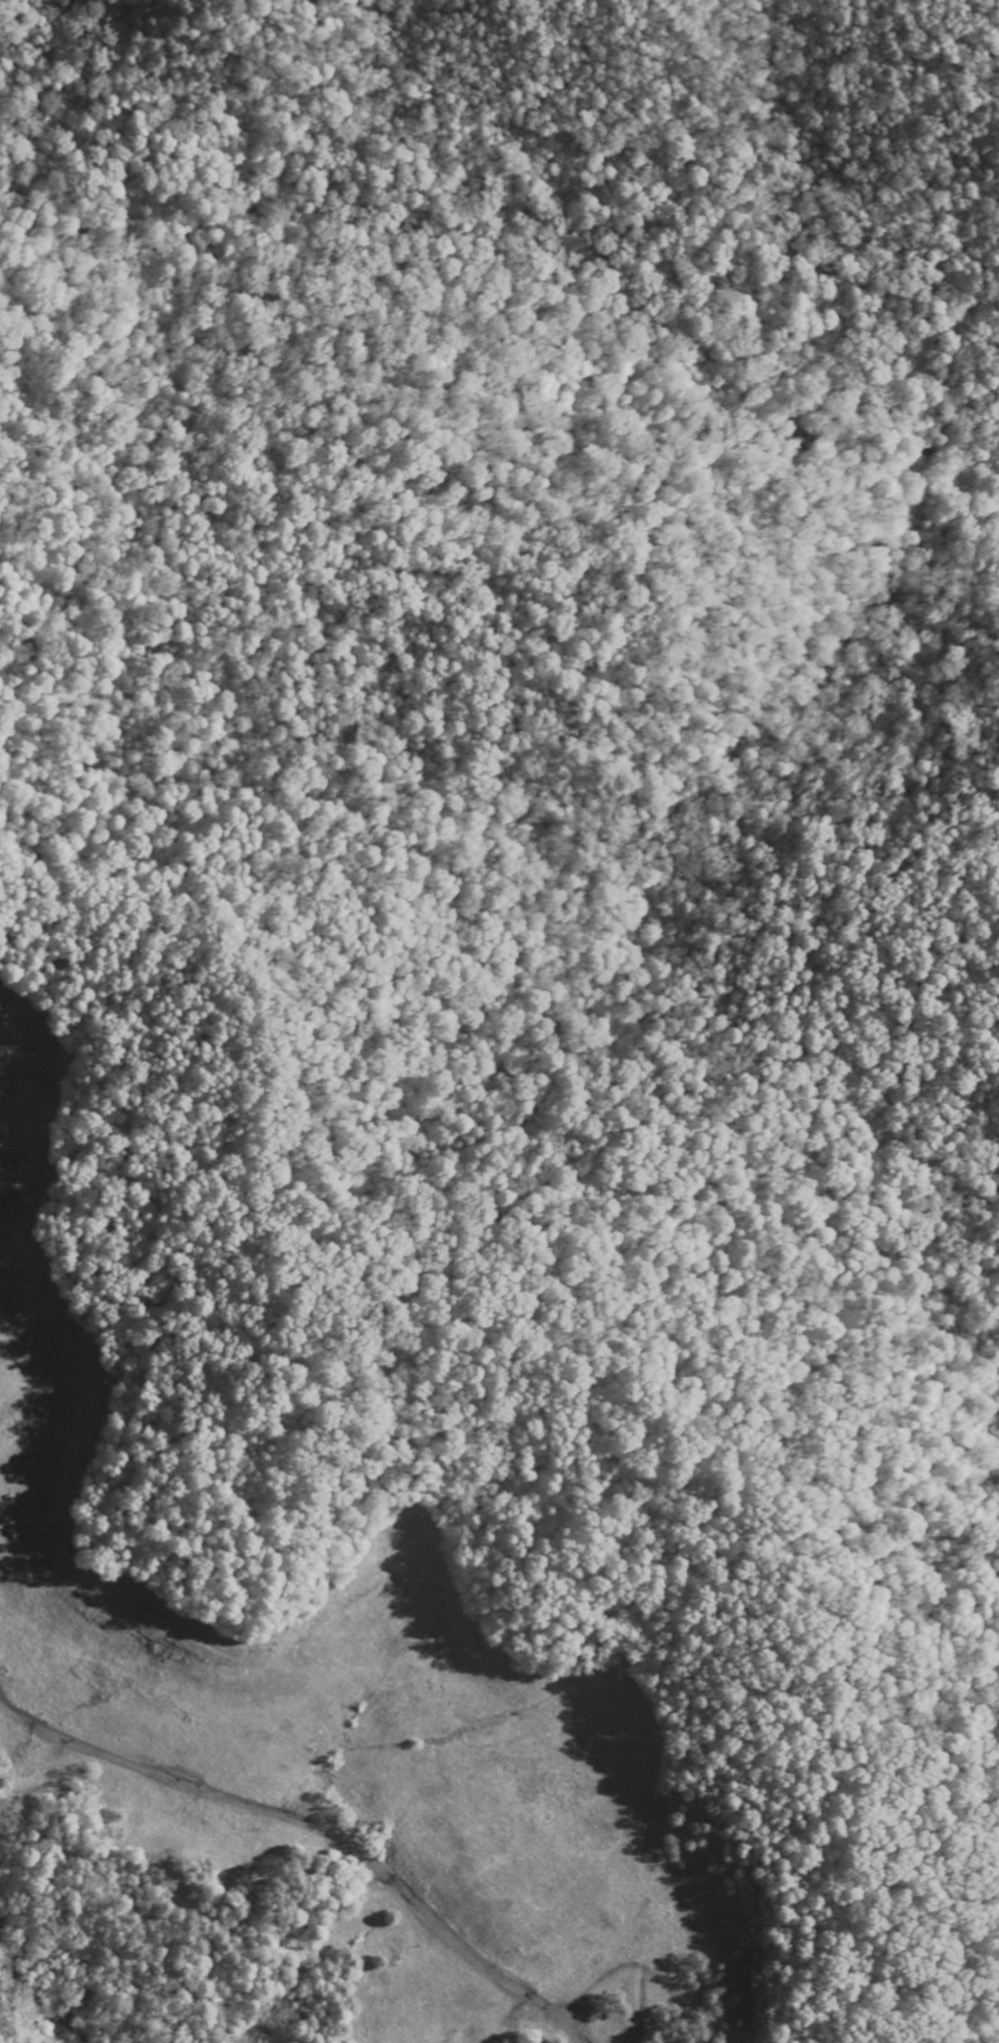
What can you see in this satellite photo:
road: (319, 1825)

